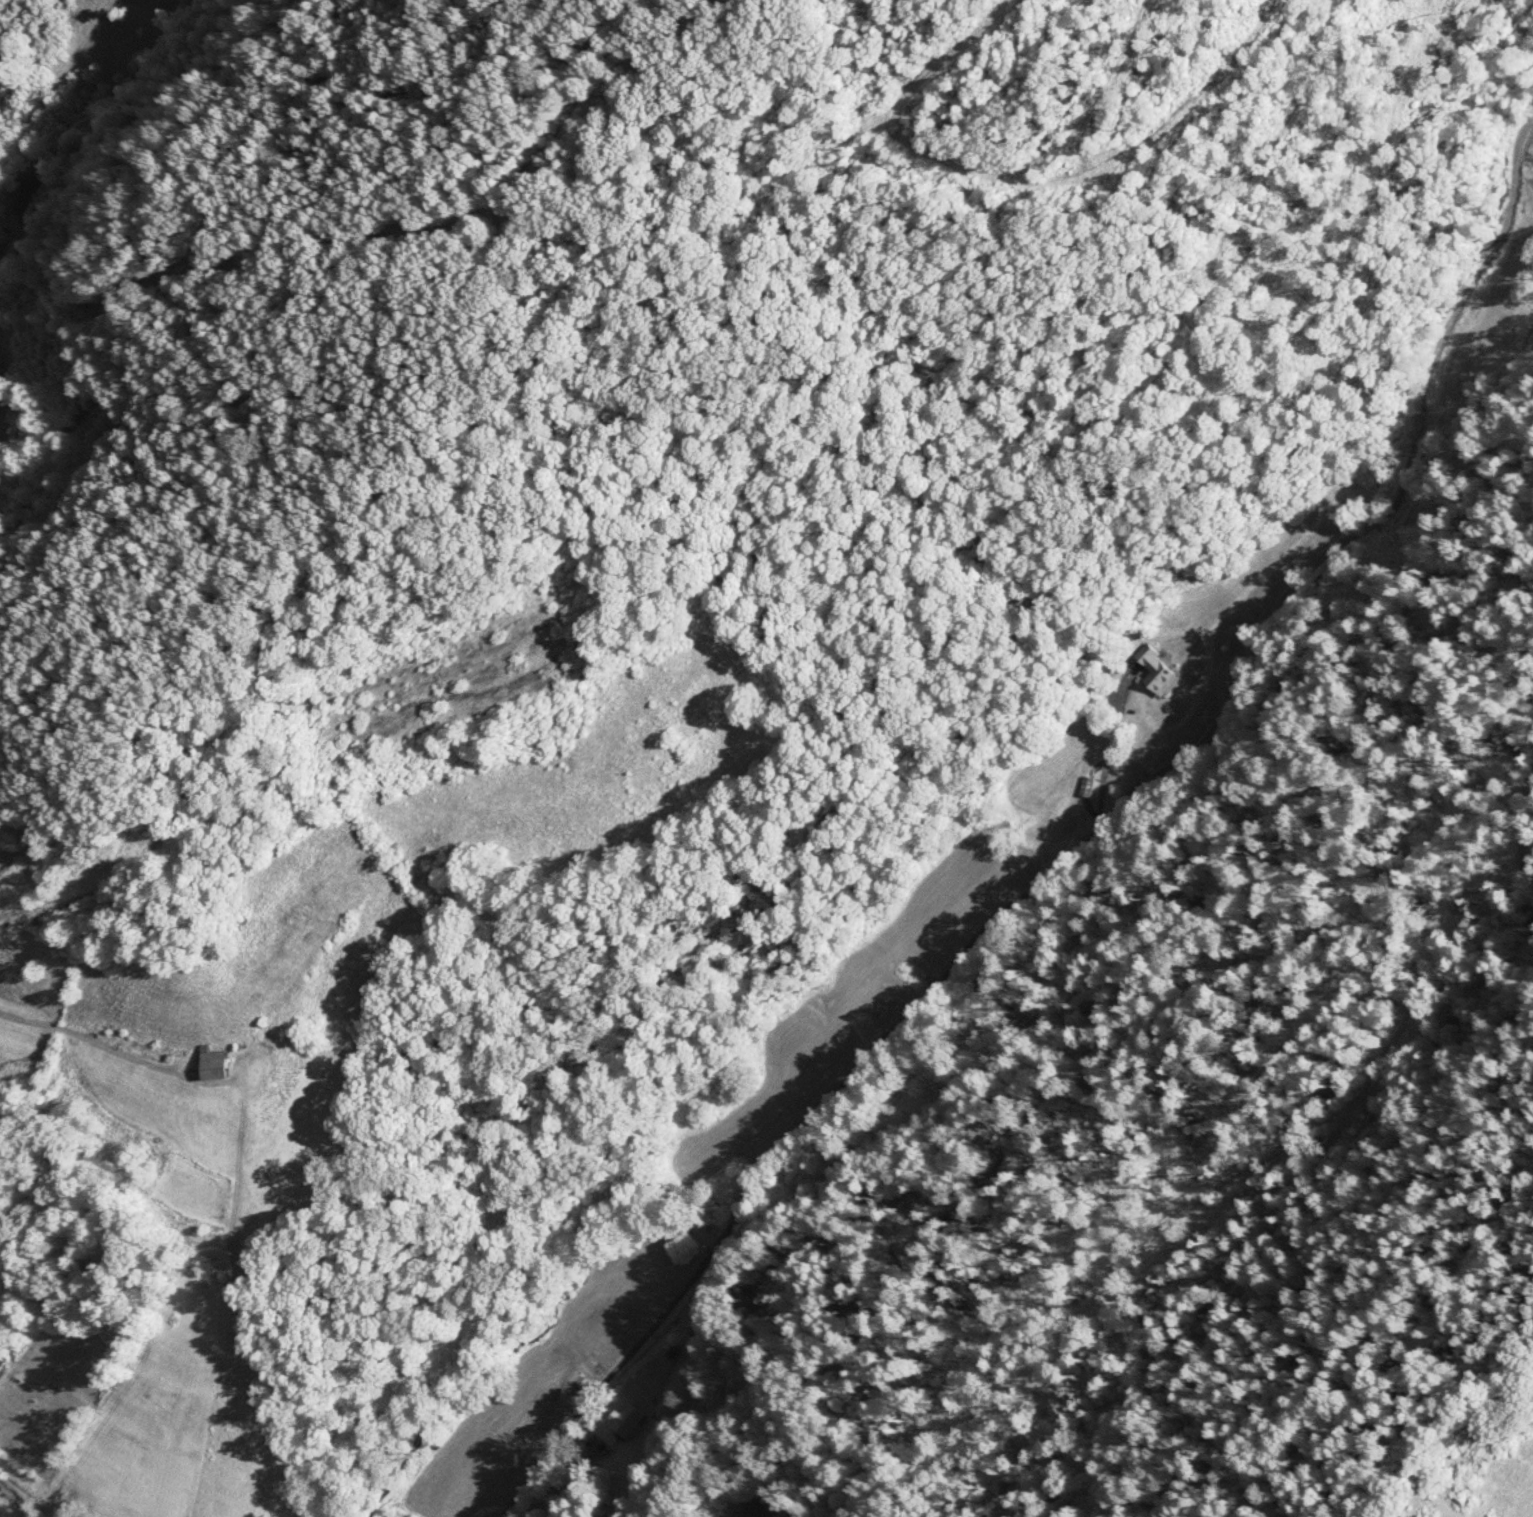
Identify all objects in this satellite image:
road: (41, 80)
building: (1160, 671)
road: (937, 984)
building: (211, 1060)

